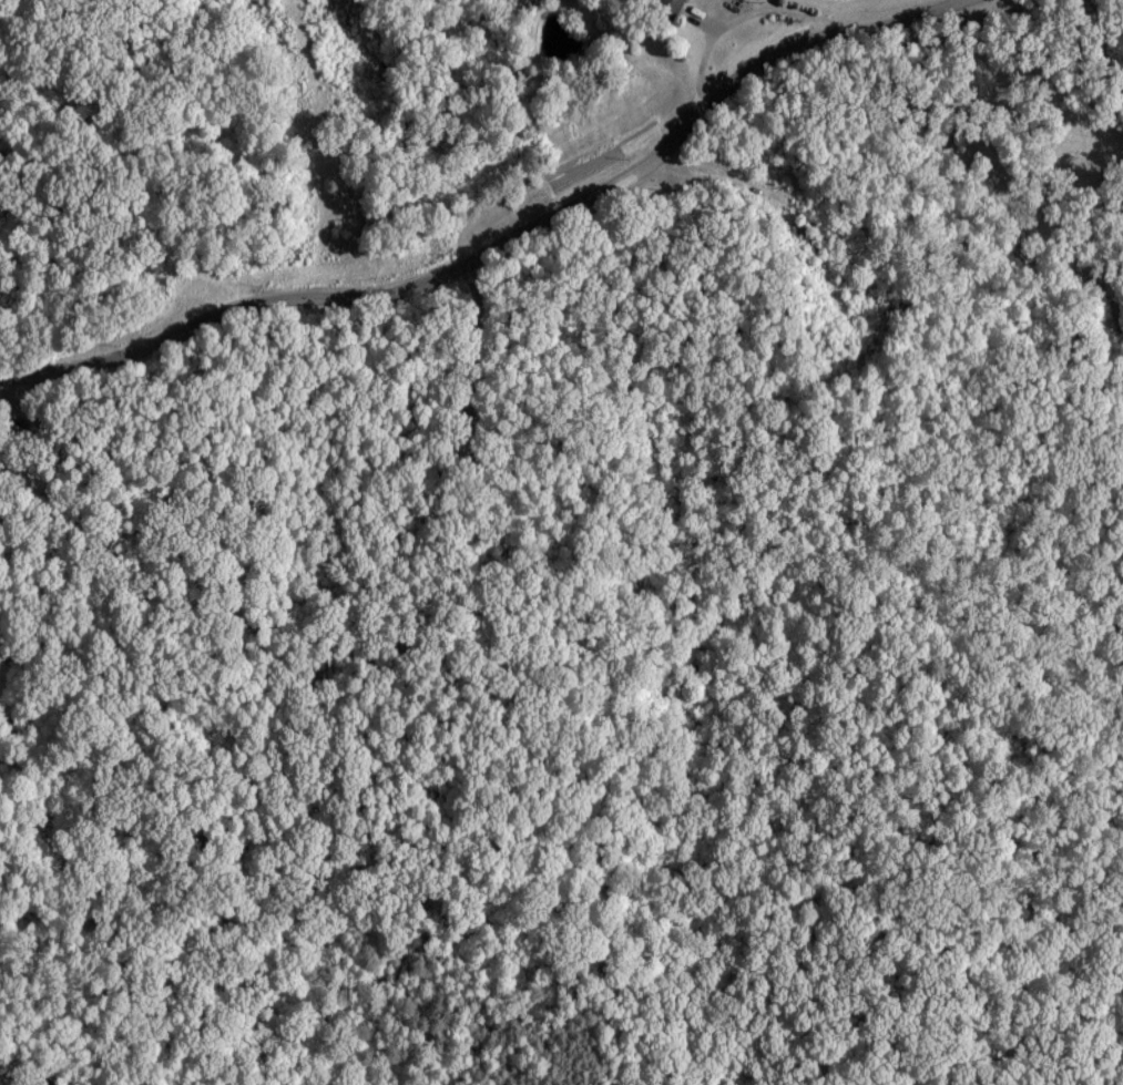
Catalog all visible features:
building: (678, 2)
road: (716, 175)
road: (499, 237)
building: (808, 242)

